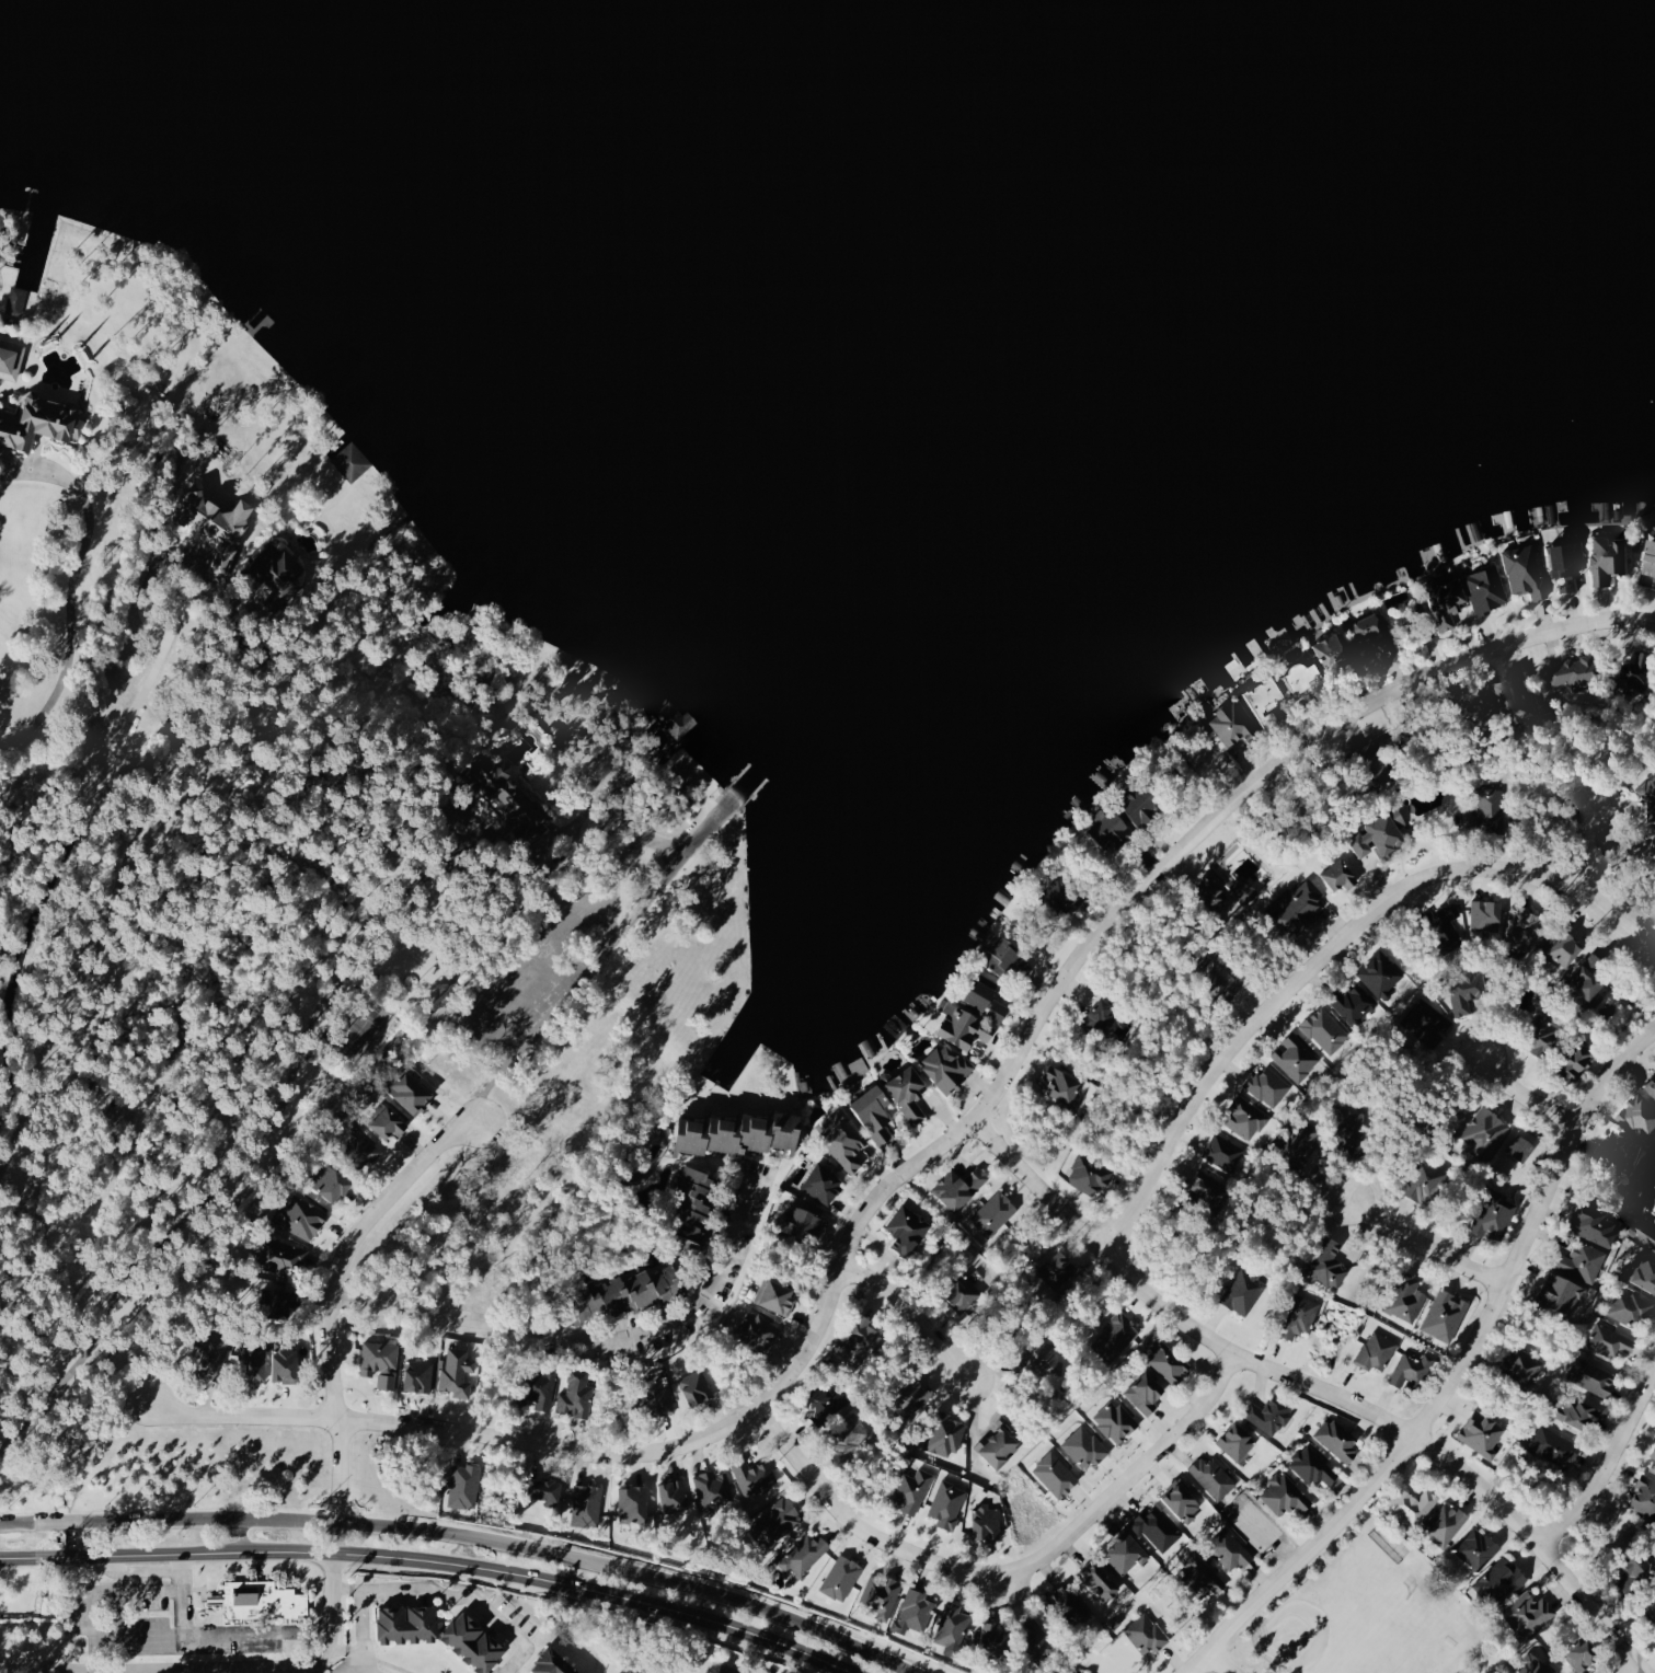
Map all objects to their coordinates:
building: (16, 300)
building: (11, 359)
building: (0, 407)
building: (41, 423)
building: (352, 461)
building: (218, 526)
building: (1611, 558)
building: (1568, 564)
building: (275, 565)
building: (1648, 569)
building: (1525, 570)
road: (78, 586)
building: (1486, 589)
building: (1447, 601)
building: (1375, 634)
building: (1336, 651)
building: (1581, 671)
building: (1642, 672)
building: (1306, 679)
building: (1264, 697)
building: (1522, 704)
building: (1232, 724)
building: (1376, 764)
building: (1646, 792)
building: (508, 795)
building: (1142, 805)
building: (1489, 808)
building: (1111, 831)
building: (1383, 835)
road: (1595, 844)
building: (1341, 876)
building: (1215, 890)
building: (1064, 893)
building: (1297, 908)
building: (1453, 911)
building: (1486, 915)
building: (1524, 923)
building: (1446, 931)
road: (1329, 945)
building: (1563, 948)
building: (1005, 956)
road: (589, 965)
building: (1381, 976)
building: (1222, 977)
building: (1590, 978)
parking lot: (527, 990)
building: (1467, 991)
building: (986, 997)
building: (1358, 1001)
building: (1108, 1015)
building: (962, 1026)
building: (1544, 1036)
building: (1295, 1057)
building: (1578, 1062)
building: (947, 1066)
building: (1062, 1084)
building: (1652, 1086)
building: (1262, 1087)
building: (411, 1091)
road: (1522, 1092)
building: (909, 1093)
building: (873, 1111)
building: (1240, 1117)
building: (1642, 1117)
building: (387, 1120)
building: (1344, 1130)
building: (740, 1132)
building: (1485, 1132)
building: (843, 1138)
building: (1302, 1138)
building: (358, 1145)
building: (1520, 1147)
building: (1624, 1149)
building: (1222, 1151)
road: (928, 1155)
building: (1089, 1175)
building: (1425, 1180)
building: (331, 1181)
building: (823, 1184)
road: (1035, 1186)
building: (959, 1187)
building: (1207, 1187)
building: (696, 1199)
building: (993, 1213)
building: (1495, 1215)
building: (300, 1216)
building: (802, 1220)
building: (1595, 1223)
building: (908, 1227)
building: (1644, 1230)
road: (1423, 1244)
building: (280, 1256)
building: (1581, 1260)
building: (1330, 1264)
building: (1055, 1268)
road: (1116, 1271)
building: (1643, 1271)
building: (629, 1291)
building: (964, 1291)
building: (1244, 1291)
building: (1561, 1292)
building: (775, 1294)
building: (1407, 1296)
road: (327, 1306)
building: (1629, 1307)
road: (920, 1314)
building: (1445, 1315)
building: (1300, 1316)
building: (759, 1329)
building: (865, 1331)
building: (1114, 1337)
road: (588, 1339)
building: (1609, 1340)
road: (1230, 1351)
building: (1377, 1351)
building: (211, 1353)
building: (1043, 1358)
building: (253, 1359)
building: (1168, 1361)
building: (285, 1362)
building: (381, 1362)
building: (1521, 1364)
building: (1410, 1369)
building: (458, 1371)
road: (1456, 1373)
building: (1593, 1376)
building: (539, 1386)
building: (696, 1387)
building: (1148, 1389)
building: (576, 1394)
building: (911, 1395)
building: (658, 1396)
building: (825, 1400)
building: (1269, 1414)
building: (1578, 1414)
building: (1482, 1432)
building: (850, 1433)
building: (946, 1434)
building: (1337, 1440)
building: (1000, 1441)
building: (1238, 1442)
building: (1554, 1446)
building: (1653, 1453)
road: (1443, 1459)
road: (1607, 1463)
building: (1312, 1466)
building: (1653, 1467)
building: (1055, 1475)
building: (754, 1476)
building: (1212, 1478)
building: (464, 1486)
building: (712, 1488)
building: (548, 1489)
building: (912, 1489)
building: (1286, 1493)
building: (1645, 1497)
building: (633, 1502)
building: (947, 1504)
building: (586, 1505)
building: (1414, 1505)
building: (777, 1522)
building: (986, 1522)
building: (1446, 1524)
road: (234, 1535)
road: (463, 1537)
building: (1476, 1548)
building: (1229, 1549)
building: (804, 1553)
road: (433, 1561)
road: (181, 1564)
building: (1637, 1572)
road: (1010, 1573)
building: (1204, 1574)
building: (1504, 1580)
building: (1101, 1582)
building: (882, 1594)
road: (452, 1596)
building: (243, 1599)
building: (289, 1602)
building: (1069, 1604)
road: (1591, 1608)
building: (916, 1609)
building: (1528, 1613)
park: (1348, 1618)
building: (409, 1623)
building: (952, 1625)
road: (189, 1628)
building: (1146, 1634)
building: (995, 1636)
building: (1036, 1637)
road: (361, 1638)
building: (475, 1641)
building: (1583, 1653)
building: (554, 1662)
road: (1219, 1662)
building: (1535, 1665)
road: (215, 1669)
building: (732, 1670)
road: (1632, 1670)
building: (1077, 1671)

